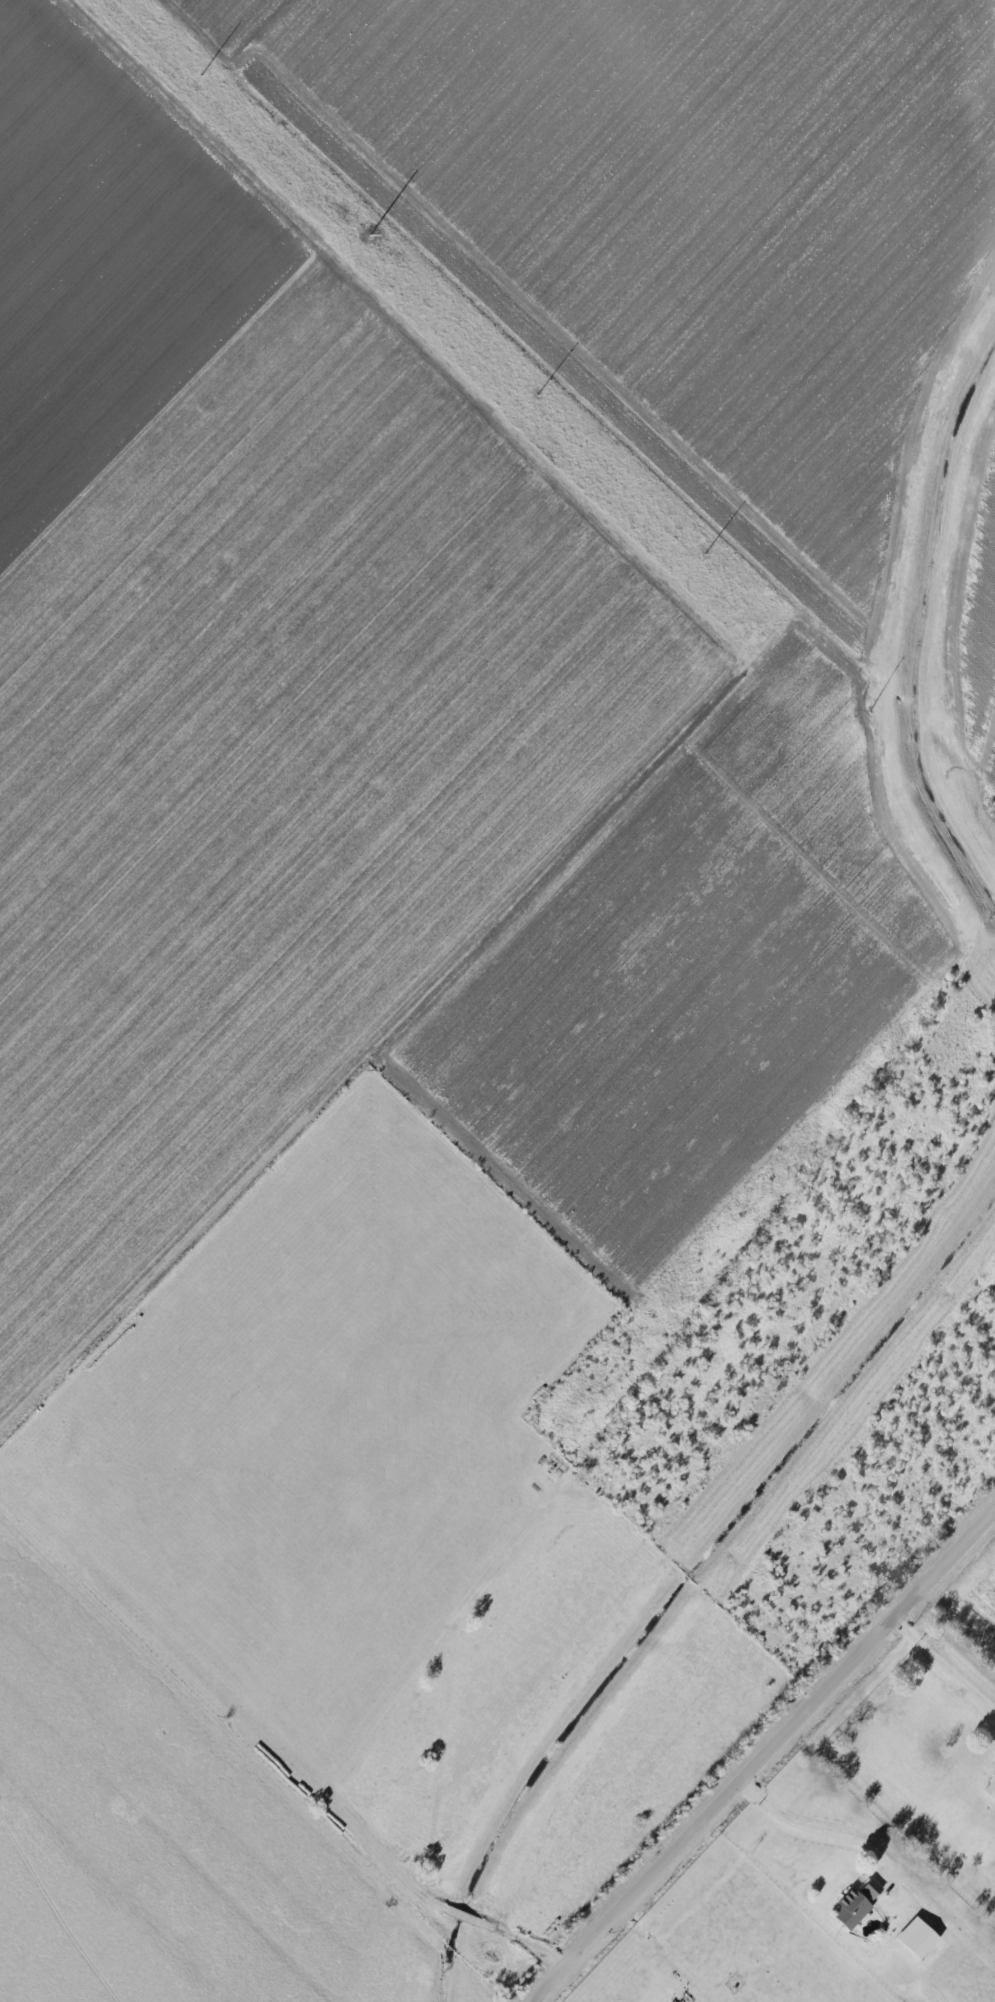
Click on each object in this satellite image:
road: (549, 884)
road: (946, 1663)
road: (765, 1758)
road: (813, 1826)
building: (857, 1904)
building: (919, 1937)
road: (525, 1938)

